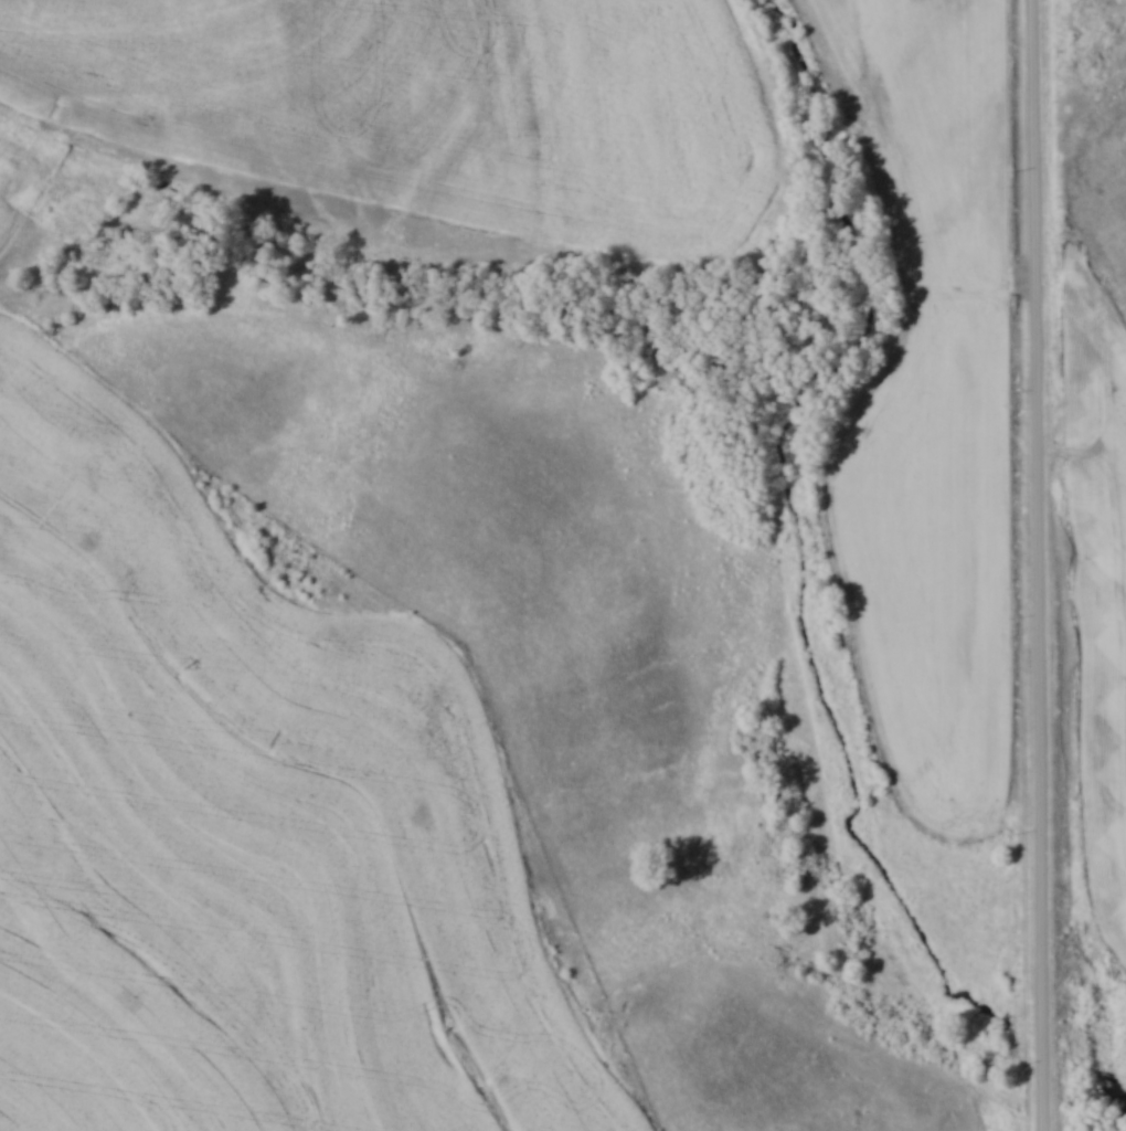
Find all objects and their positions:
road: (1043, 564)

